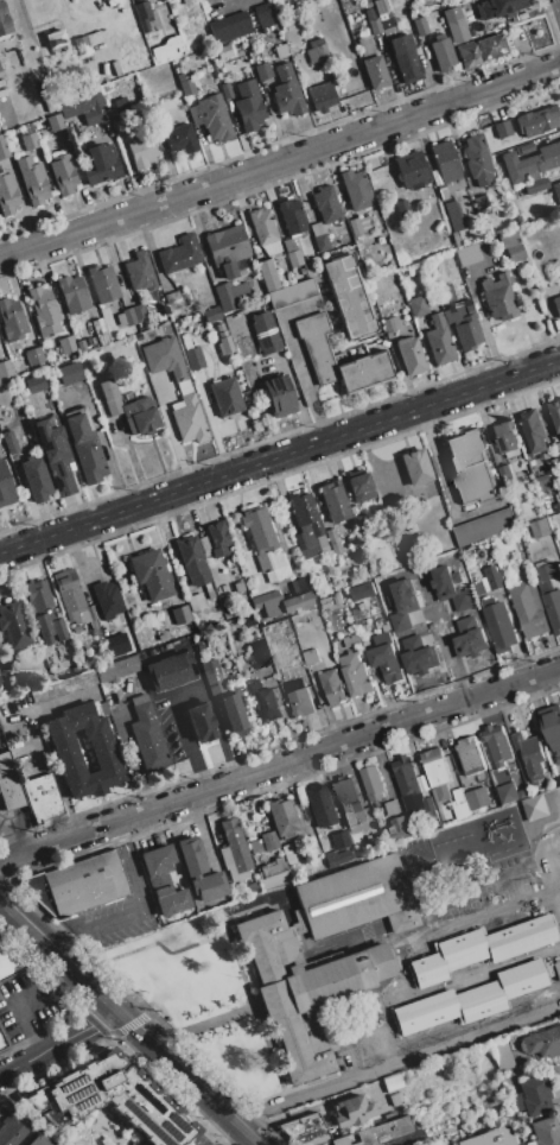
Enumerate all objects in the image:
building: (112, 2)
building: (185, 2)
building: (367, 4)
building: (380, 6)
building: (496, 7)
building: (422, 10)
building: (369, 14)
building: (142, 15)
building: (263, 15)
building: (382, 15)
building: (4, 19)
building: (228, 26)
building: (420, 26)
building: (388, 29)
building: (457, 29)
building: (438, 36)
building: (53, 40)
building: (7, 42)
building: (83, 44)
building: (365, 45)
building: (319, 49)
building: (166, 50)
building: (223, 51)
building: (281, 51)
building: (479, 51)
building: (443, 55)
building: (403, 58)
building: (115, 68)
building: (0, 69)
building: (263, 70)
building: (178, 72)
building: (375, 72)
building: (59, 76)
building: (104, 76)
building: (155, 81)
building: (186, 87)
building: (2, 88)
building: (225, 89)
building: (287, 91)
building: (42, 95)
building: (322, 96)
building: (119, 102)
building: (83, 105)
building: (17, 109)
building: (152, 112)
building: (172, 112)
building: (250, 114)
building: (211, 118)
building: (536, 120)
building: (53, 121)
building: (119, 125)
building: (502, 128)
building: (28, 135)
building: (179, 138)
building: (2, 147)
building: (524, 148)
building: (142, 150)
building: (477, 160)
road: (280, 162)
building: (497, 163)
building: (528, 163)
building: (98, 164)
building: (446, 165)
building: (411, 170)
building: (63, 173)
building: (32, 181)
building: (535, 185)
building: (356, 189)
building: (556, 192)
building: (7, 194)
building: (443, 194)
building: (481, 203)
building: (326, 204)
building: (401, 207)
building: (292, 216)
building: (453, 216)
building: (516, 221)
building: (365, 223)
building: (355, 228)
building: (265, 230)
building: (318, 236)
building: (457, 240)
building: (510, 246)
building: (225, 248)
building: (291, 252)
building: (179, 254)
building: (469, 254)
building: (307, 268)
building: (139, 272)
building: (267, 274)
building: (437, 280)
building: (103, 283)
building: (72, 293)
building: (292, 293)
building: (445, 295)
building: (233, 296)
building: (498, 296)
building: (348, 298)
building: (176, 299)
building: (416, 305)
building: (556, 305)
building: (44, 311)
building: (139, 314)
building: (211, 314)
building: (125, 317)
building: (11, 320)
building: (464, 323)
building: (390, 324)
building: (98, 327)
building: (265, 331)
building: (185, 340)
building: (222, 340)
building: (438, 340)
building: (66, 343)
building: (79, 344)
building: (317, 346)
building: (33, 355)
building: (411, 355)
building: (193, 358)
building: (138, 360)
road: (297, 360)
building: (5, 368)
building: (14, 368)
building: (364, 372)
building: (69, 373)
building: (34, 384)
building: (185, 391)
building: (225, 396)
building: (279, 396)
building: (109, 397)
building: (555, 415)
building: (140, 416)
building: (549, 420)
building: (534, 431)
building: (505, 438)
building: (11, 441)
building: (84, 448)
building: (55, 455)
road: (279, 455)
building: (15, 458)
building: (497, 460)
building: (553, 466)
building: (415, 467)
building: (471, 467)
building: (505, 475)
building: (36, 479)
building: (545, 485)
building: (359, 486)
building: (5, 487)
building: (333, 500)
building: (555, 508)
building: (359, 524)
building: (305, 525)
building: (485, 529)
building: (541, 530)
building: (217, 538)
building: (333, 543)
building: (322, 544)
building: (263, 545)
building: (204, 546)
building: (193, 563)
building: (151, 574)
building: (546, 575)
building: (335, 576)
building: (494, 578)
building: (325, 584)
building: (237, 586)
building: (225, 588)
building: (450, 589)
building: (479, 589)
building: (69, 590)
building: (363, 594)
building: (297, 596)
building: (107, 599)
building: (338, 599)
building: (195, 601)
building: (324, 602)
building: (268, 603)
building: (402, 606)
building: (39, 607)
building: (159, 608)
building: (552, 608)
building: (529, 611)
building: (87, 614)
building: (180, 614)
building: (14, 625)
building: (108, 625)
building: (94, 626)
building: (498, 626)
building: (59, 628)
building: (76, 628)
building: (161, 637)
building: (469, 638)
building: (351, 640)
building: (382, 640)
building: (116, 644)
building: (259, 653)
building: (418, 656)
building: (312, 662)
building: (387, 664)
building: (119, 670)
building: (171, 671)
building: (211, 671)
building: (1, 675)
building: (355, 675)
building: (62, 685)
building: (332, 687)
road: (187, 694)
building: (299, 700)
building: (265, 701)
building: (103, 708)
building: (234, 710)
building: (201, 722)
building: (552, 725)
building: (147, 736)
building: (498, 746)
building: (470, 757)
building: (68, 759)
building: (532, 759)
road: (279, 764)
building: (437, 774)
building: (405, 777)
building: (9, 784)
building: (371, 784)
building: (422, 784)
building: (507, 793)
building: (43, 799)
building: (478, 799)
building: (348, 801)
building: (408, 803)
building: (319, 805)
building: (460, 806)
building: (393, 808)
building: (429, 809)
building: (536, 809)
building: (282, 817)
building: (370, 825)
building: (400, 829)
road: (14, 833)
building: (339, 839)
building: (269, 840)
building: (312, 844)
building: (256, 848)
building: (234, 850)
building: (288, 854)
building: (336, 856)
building: (199, 871)
building: (274, 872)
building: (163, 879)
building: (79, 884)
building: (252, 887)
building: (149, 923)
building: (11, 954)
road: (58, 955)
building: (324, 972)
building: (516, 992)
building: (497, 999)
road: (20, 1000)
traffic signals: (119, 1012)
building: (443, 1017)
road: (89, 1027)
building: (377, 1039)
building: (1, 1042)
building: (541, 1042)
building: (499, 1054)
road: (28, 1059)
road: (171, 1062)
road: (396, 1063)
building: (508, 1081)
building: (392, 1082)
building: (535, 1094)
building: (396, 1099)
building: (113, 1100)
building: (515, 1101)
building: (351, 1111)
building: (12, 1127)
road: (242, 1127)
road: (210, 1128)
building: (305, 1130)
building: (546, 1131)
building: (374, 1132)
road: (238, 1138)
building: (490, 1138)
building: (38, 1140)
building: (532, 1143)

